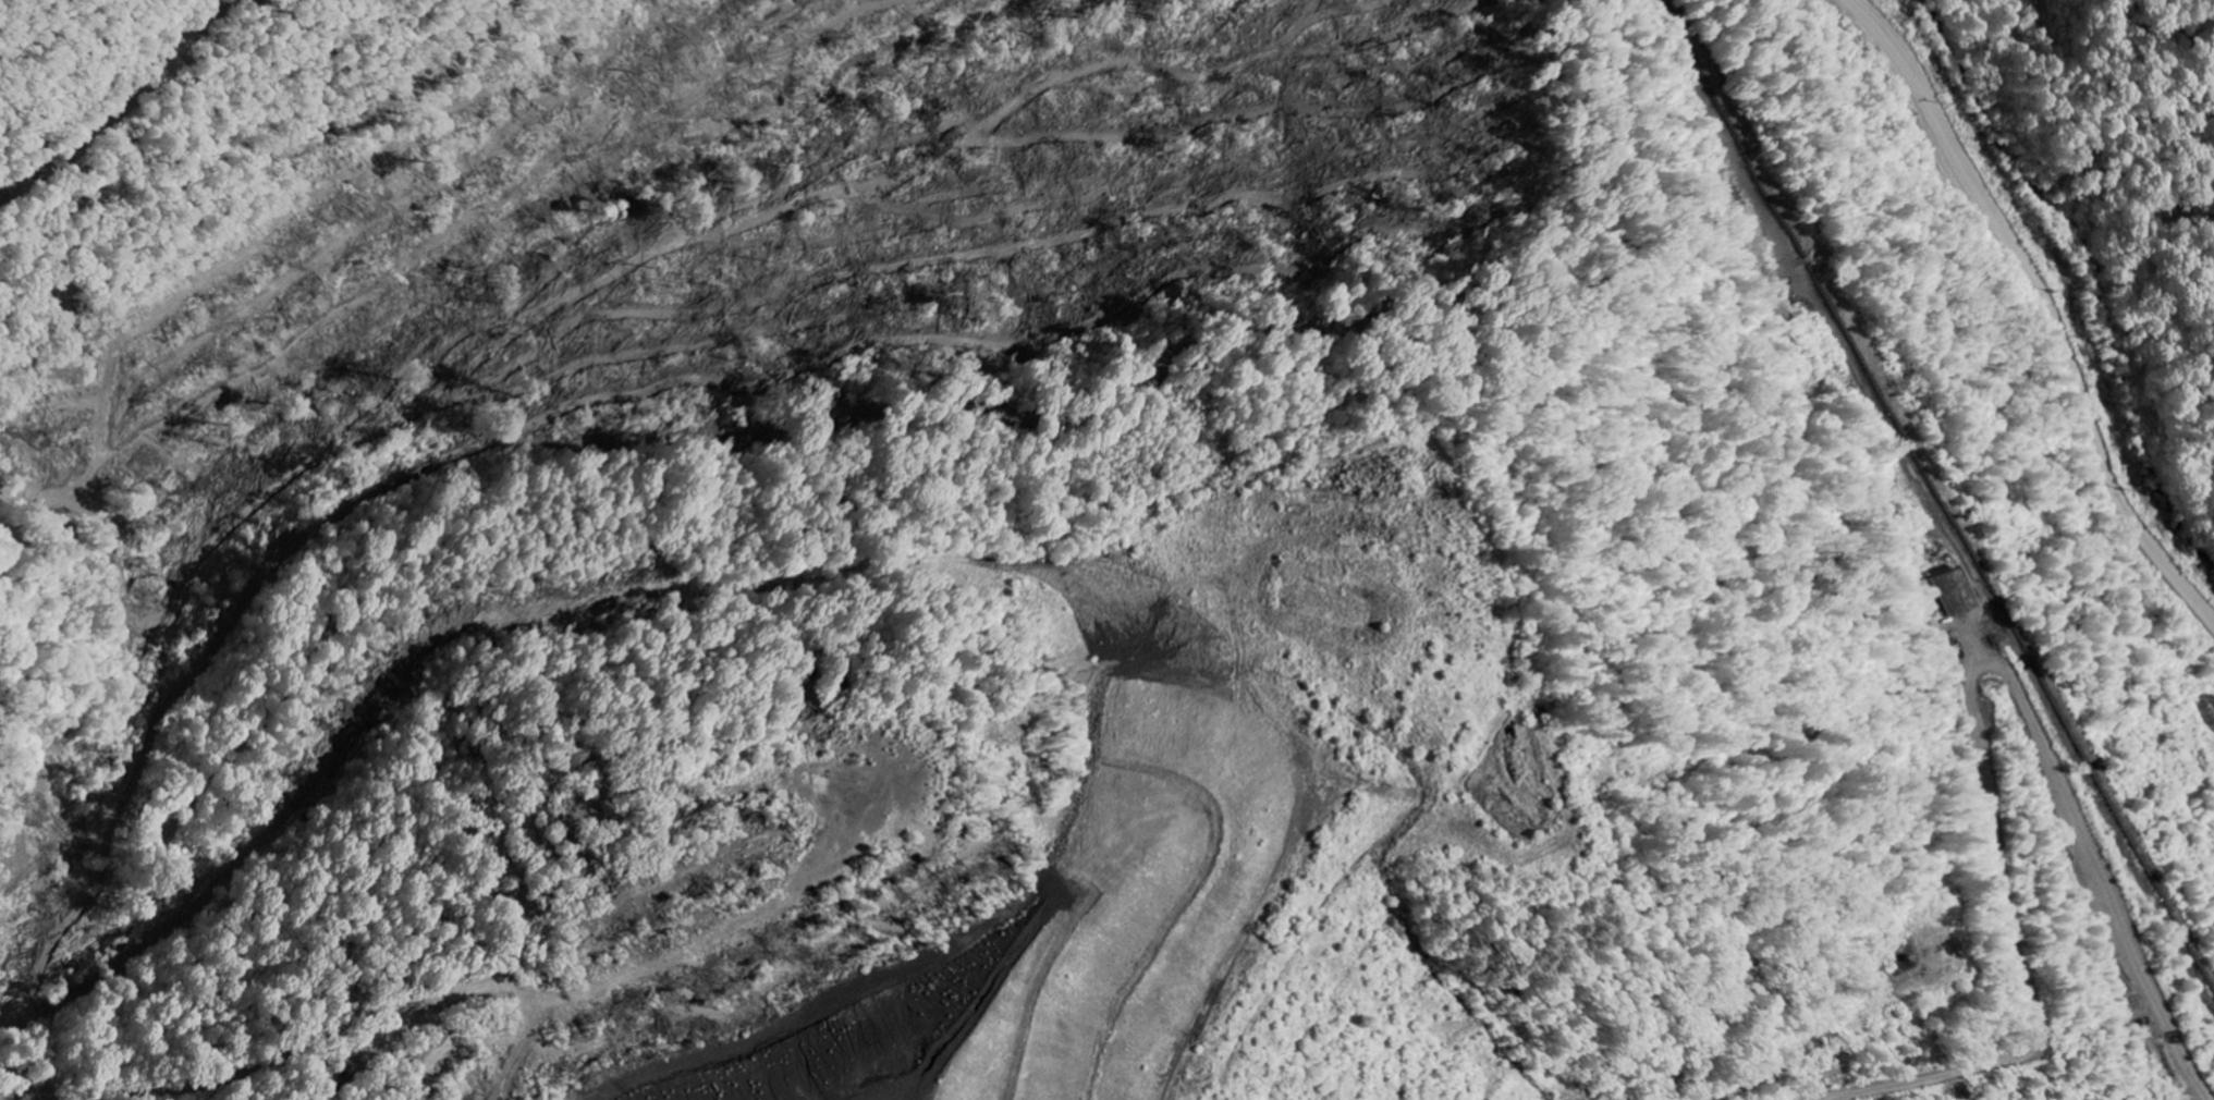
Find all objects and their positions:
road: (2050, 366)
building: (1950, 592)

